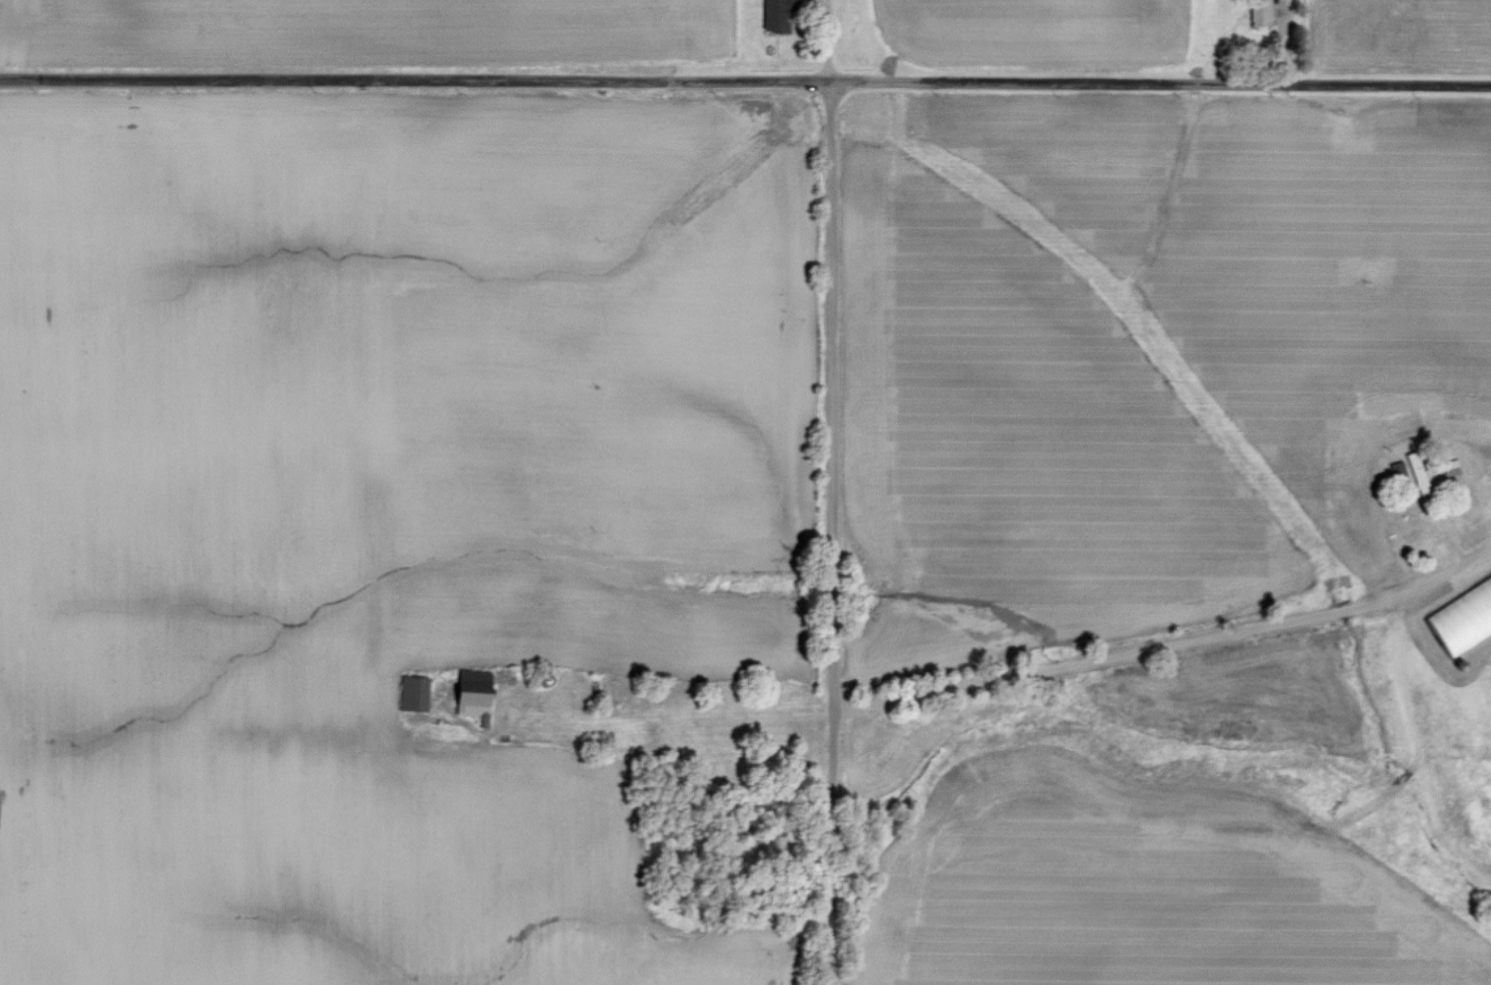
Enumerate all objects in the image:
building: (781, 11)
road: (827, 41)
road: (1283, 41)
road: (745, 82)
road: (1444, 502)
road: (832, 533)
building: (1425, 535)
road: (1476, 560)
road: (1150, 650)
road: (665, 722)

